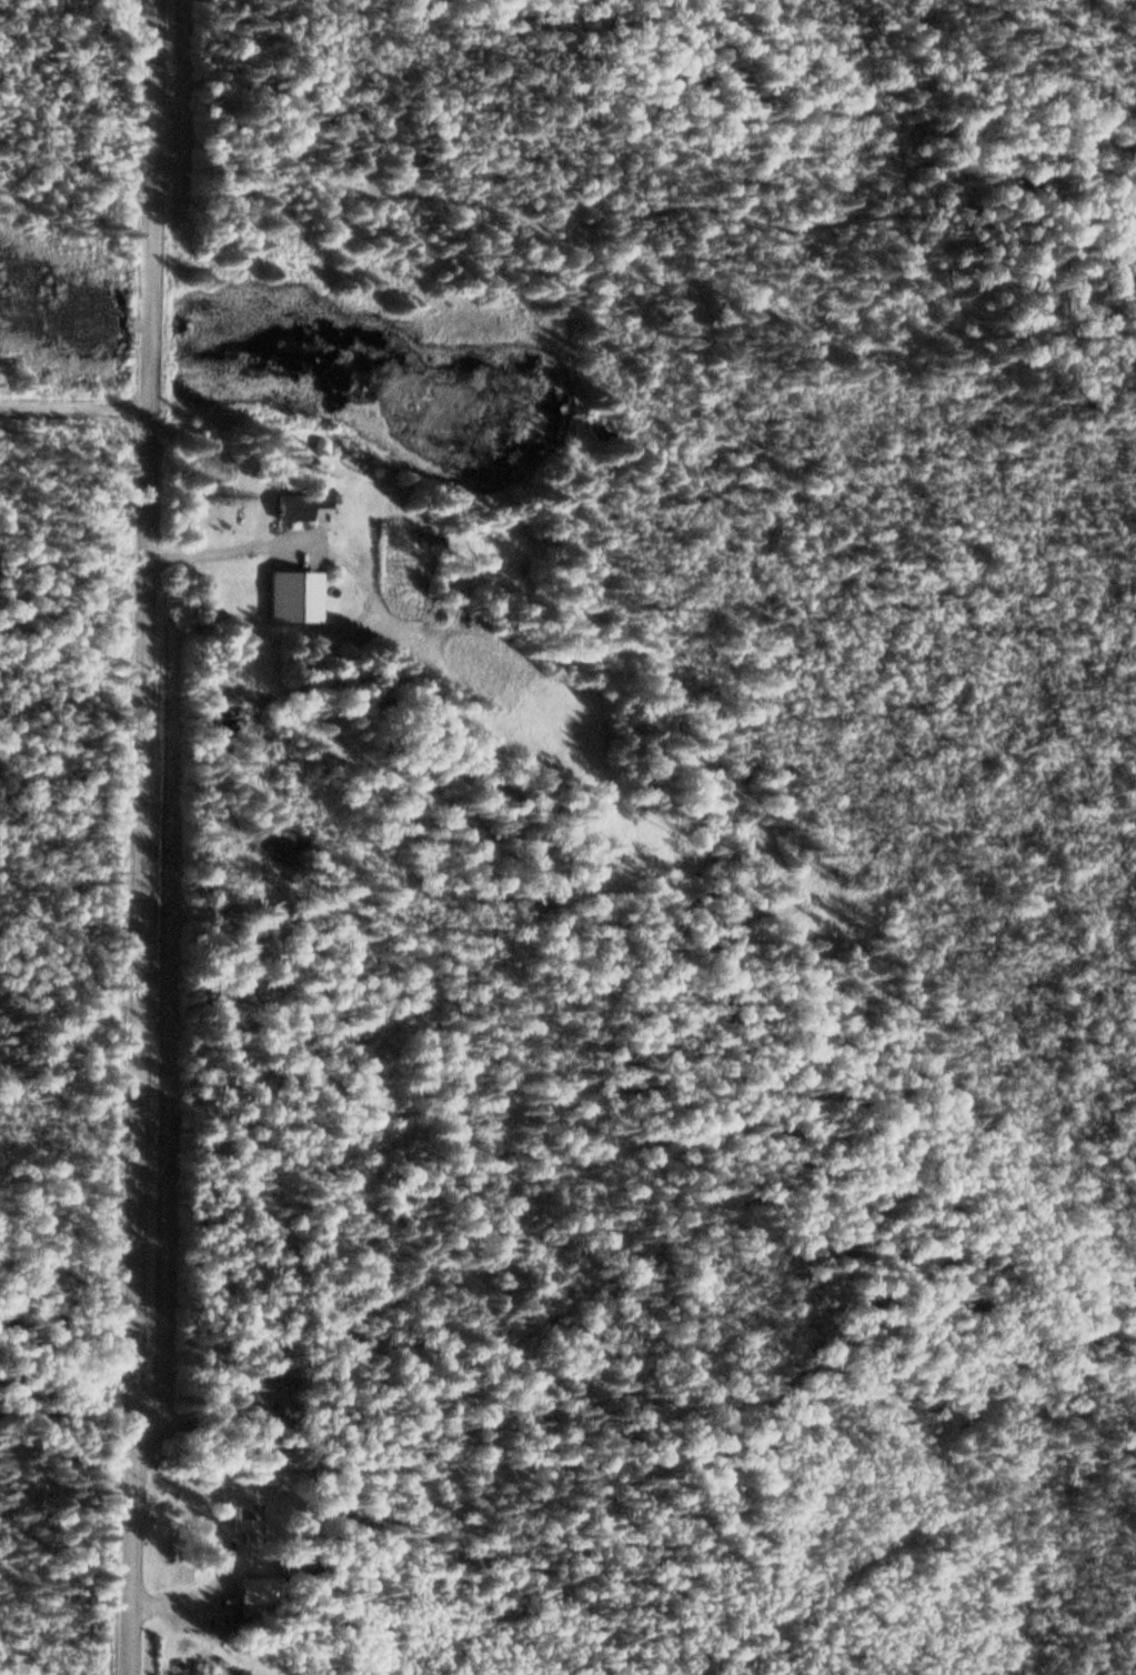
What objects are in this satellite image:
road: (73, 410)
building: (303, 506)
building: (430, 541)
building: (299, 600)
road: (151, 836)
building: (250, 1523)
building: (258, 1599)

